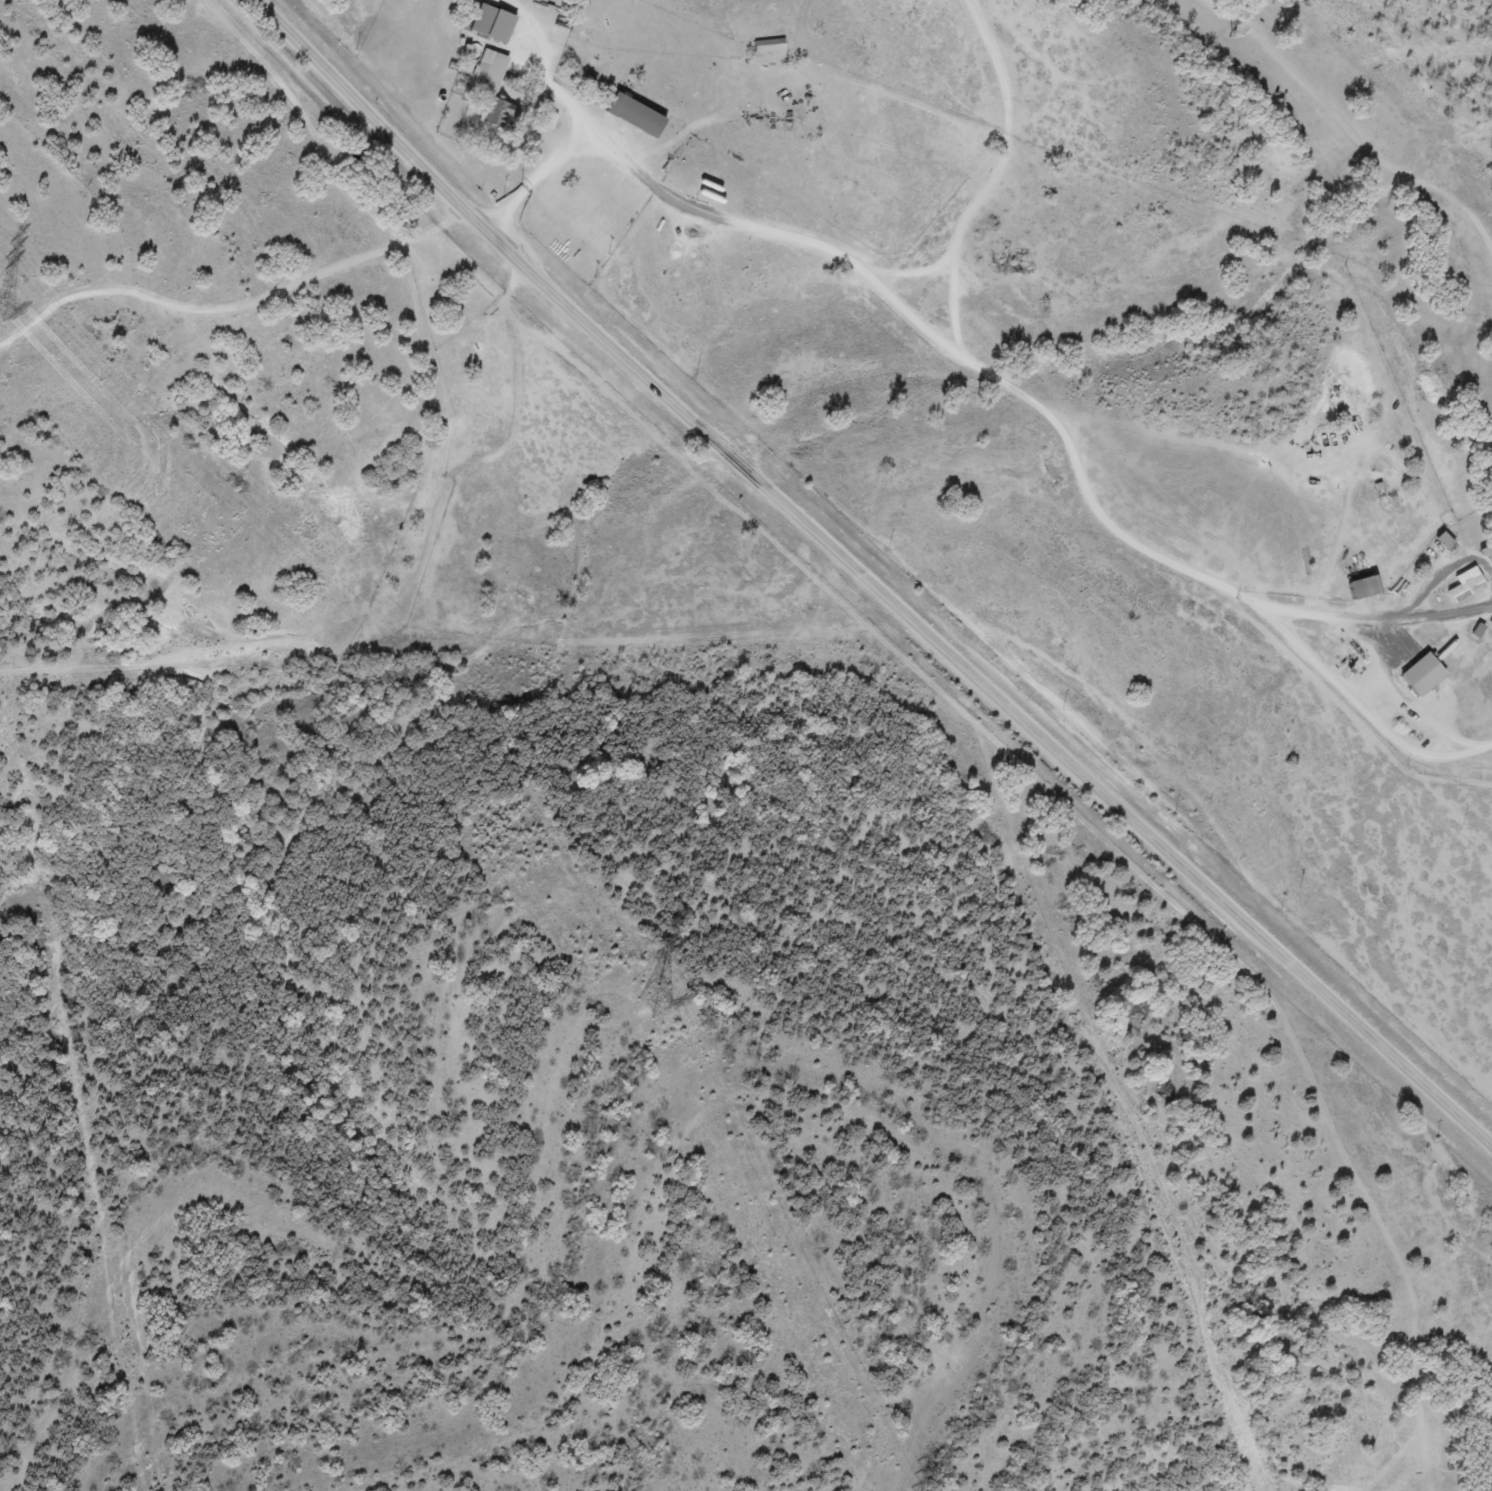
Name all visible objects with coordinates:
building: (493, 23)
building: (769, 44)
building: (495, 88)
building: (635, 115)
road: (582, 148)
road: (944, 349)
building: (1487, 554)
road: (870, 577)
building: (1364, 587)
building: (1467, 588)
road: (1374, 615)
building: (1491, 622)
building: (1423, 674)
road: (1362, 706)
power tower: (639, 994)

